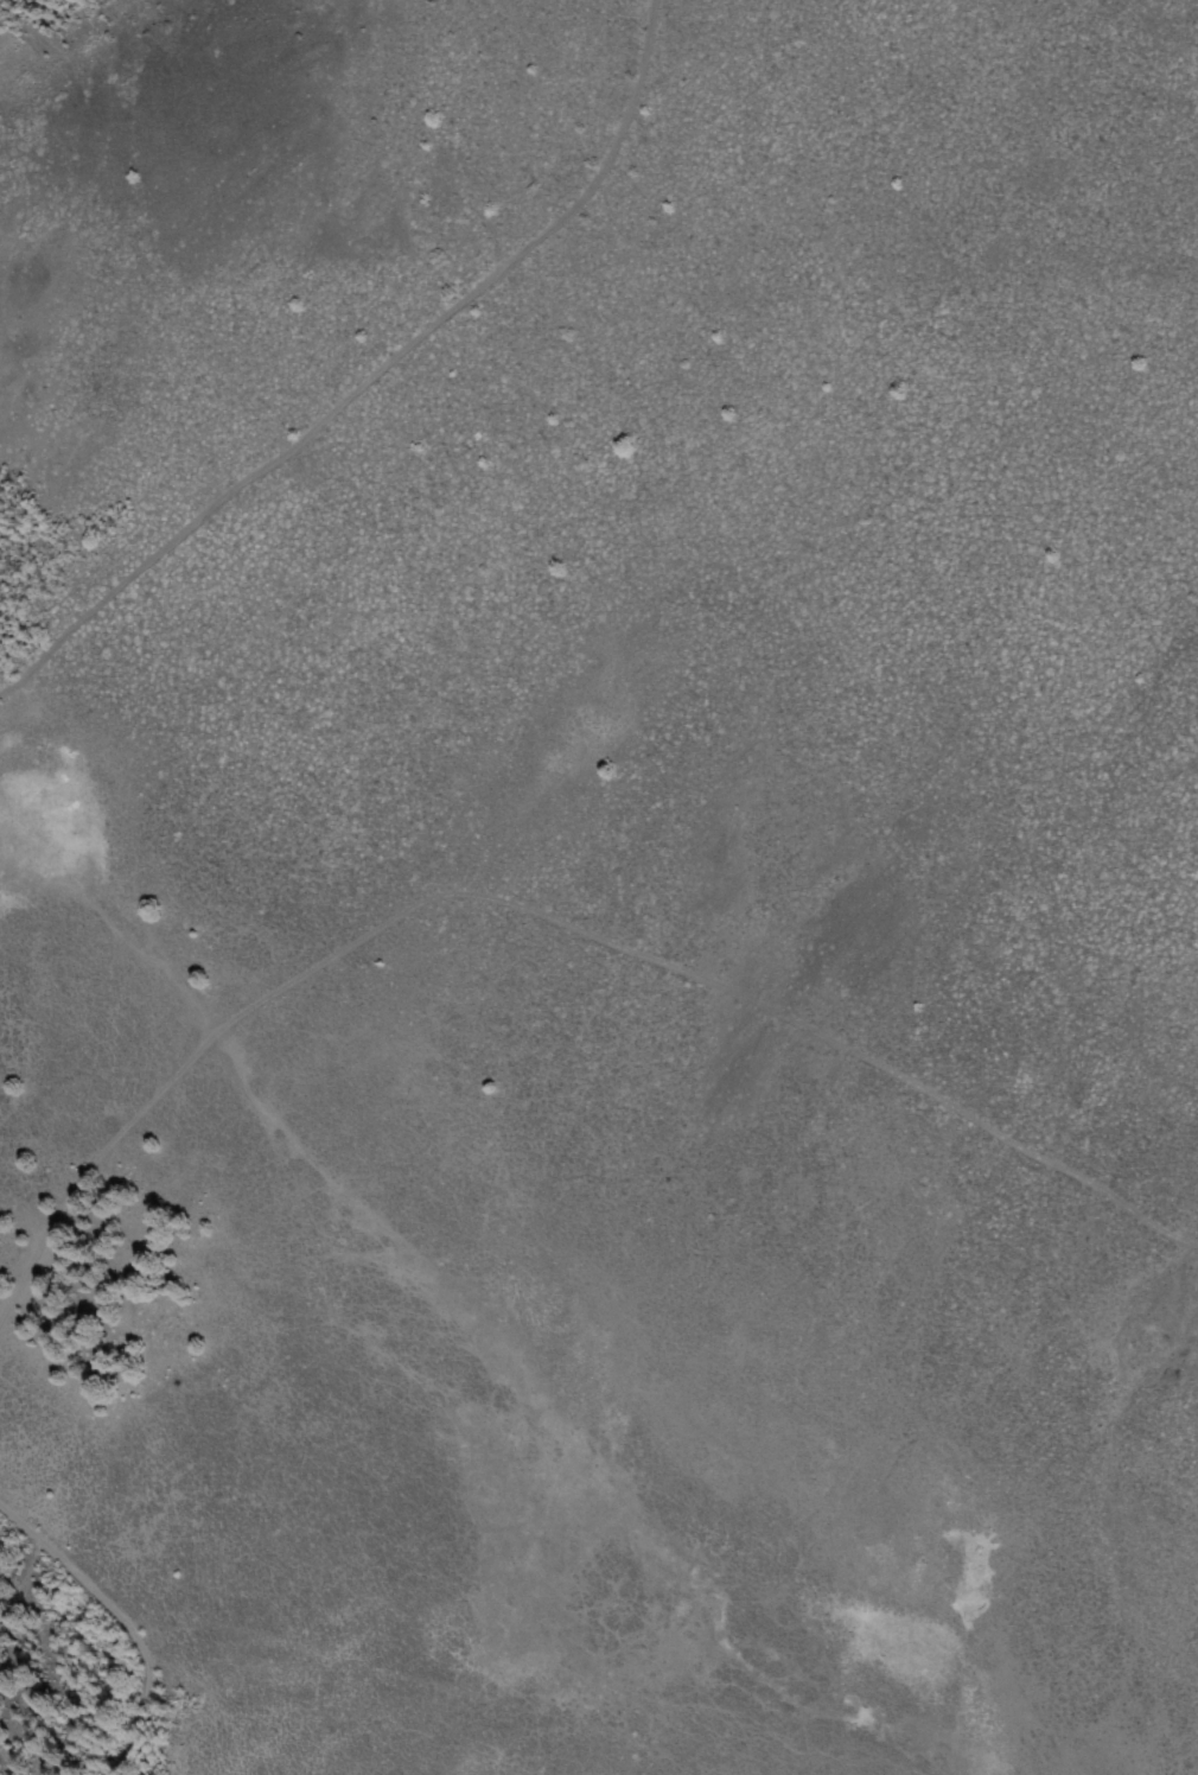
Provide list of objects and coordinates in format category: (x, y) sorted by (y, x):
road: (376, 381)
road: (540, 911)
road: (119, 1620)

